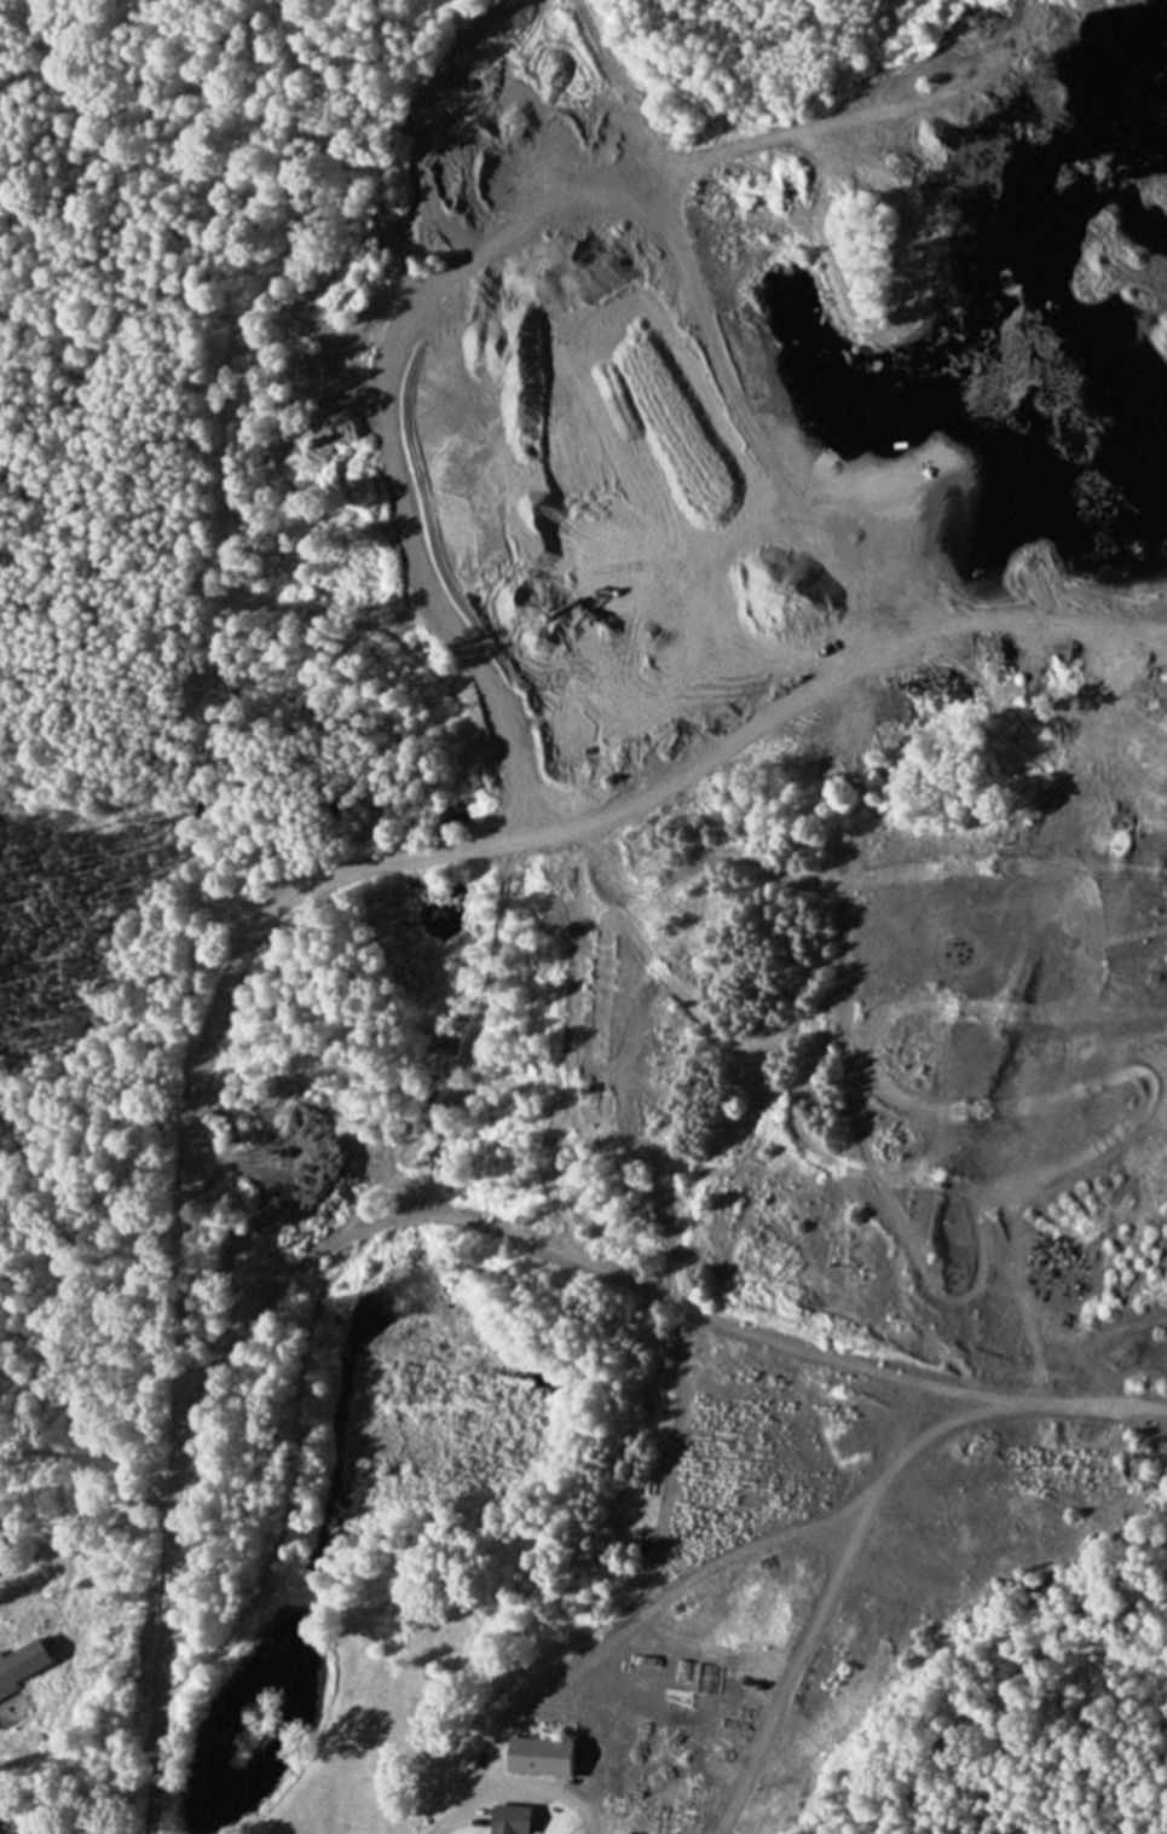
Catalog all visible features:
road: (1156, 632)
road: (1156, 638)
quarry: (706, 846)
road: (272, 915)
road: (839, 948)
road: (751, 1075)
road: (920, 1232)
road: (628, 1621)
building: (29, 1667)
building: (532, 1758)
road: (516, 1790)
building: (505, 1833)

